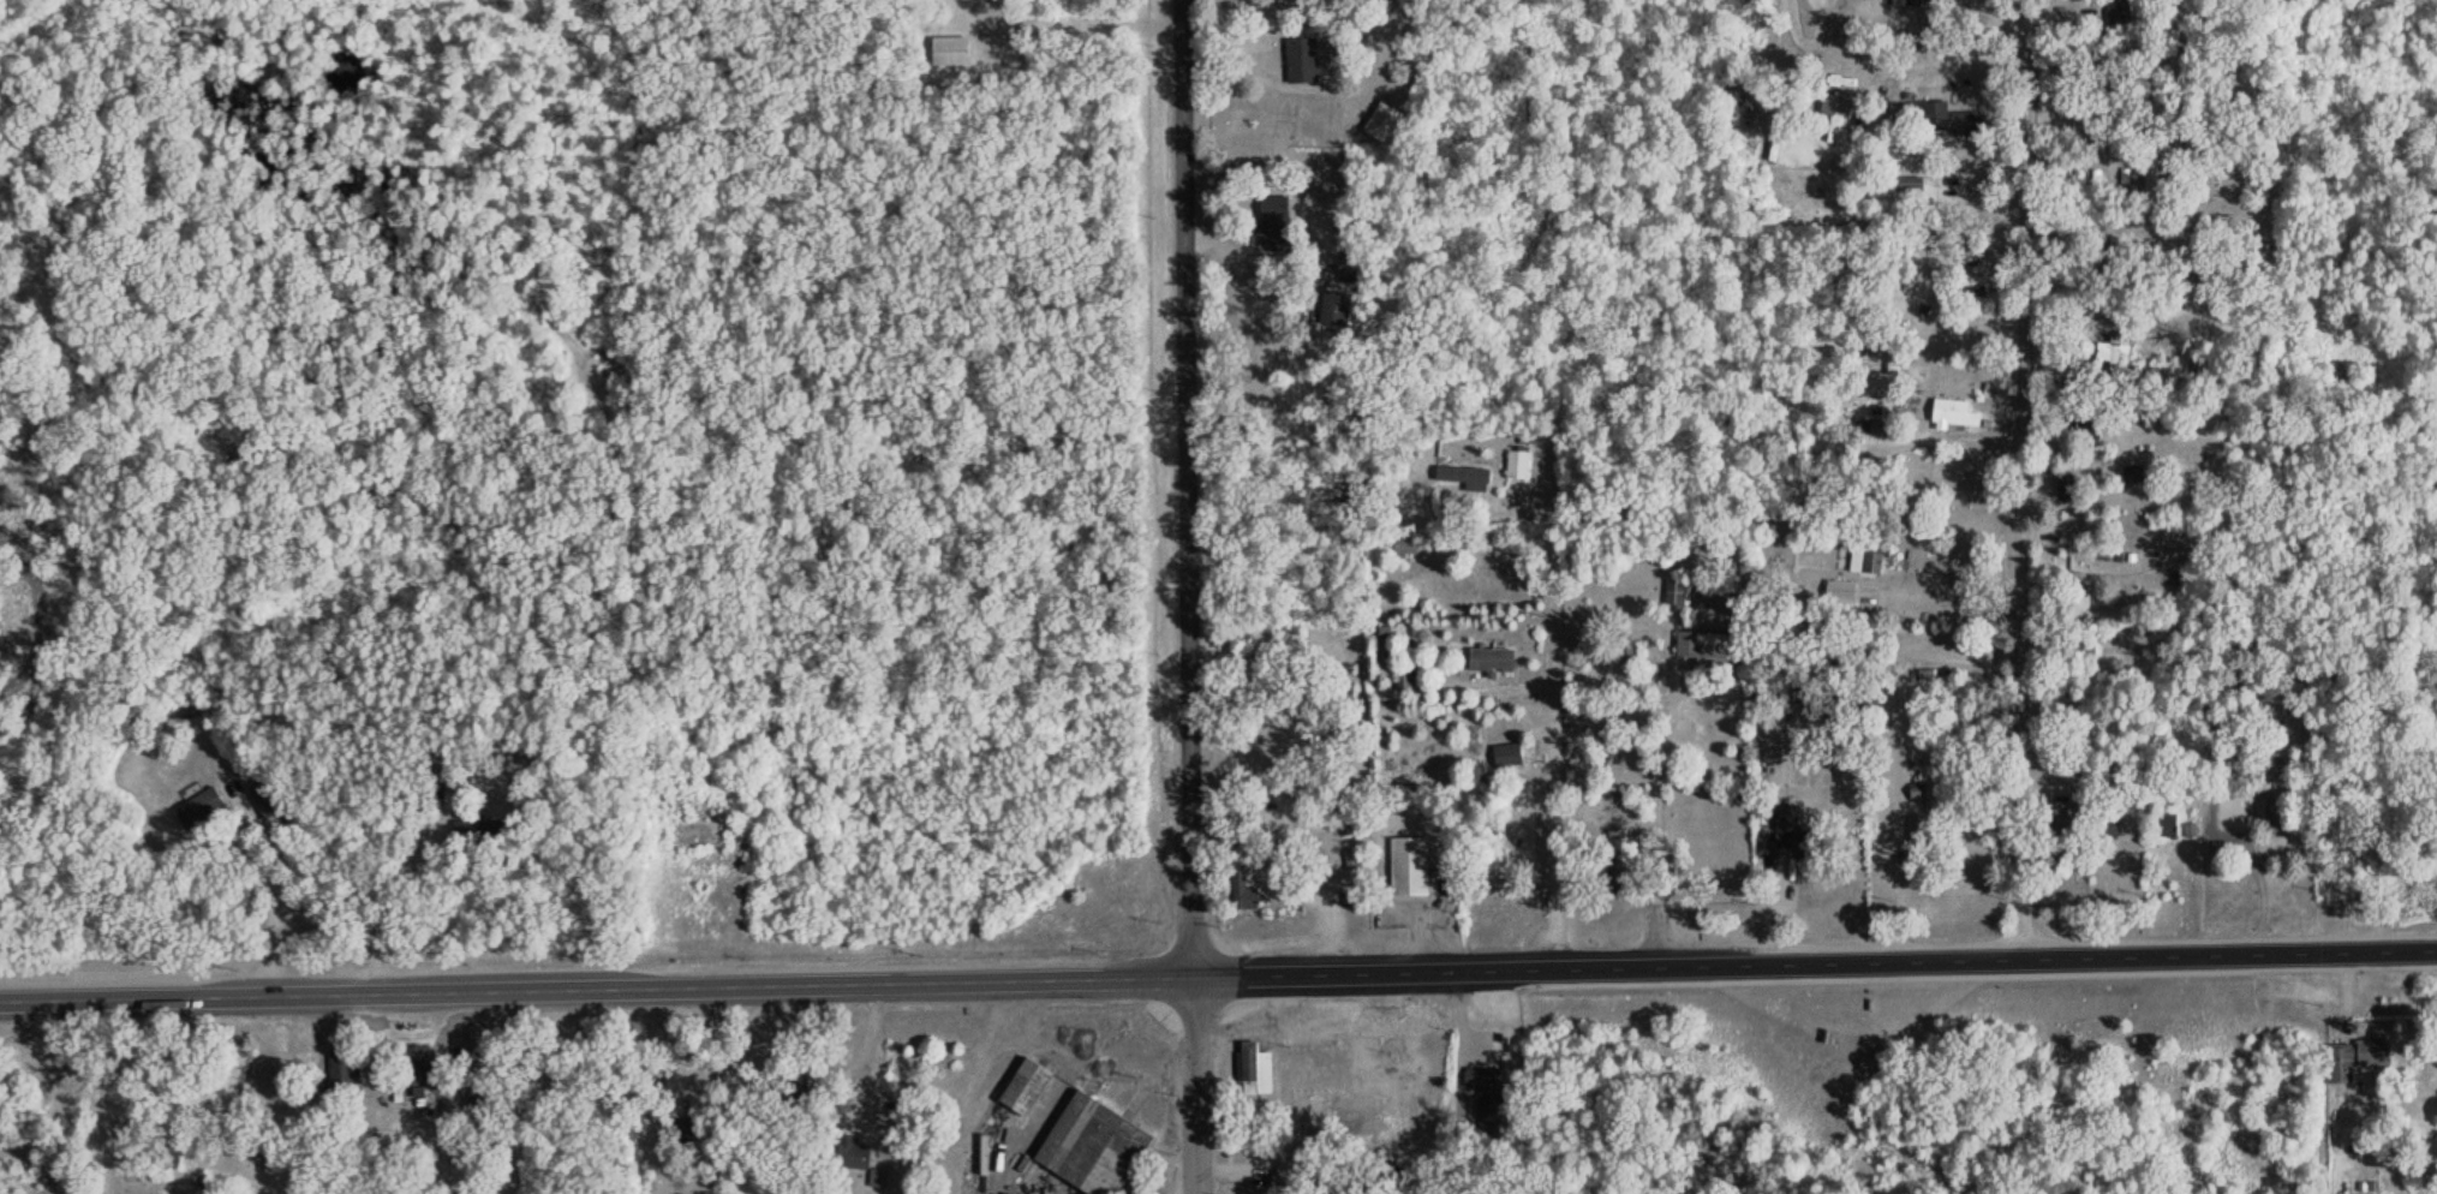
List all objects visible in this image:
building: (956, 49)
building: (1308, 60)
building: (1839, 108)
building: (1930, 117)
building: (1388, 121)
building: (1907, 184)
building: (1971, 292)
building: (1894, 366)
building: (1939, 417)
building: (1868, 425)
building: (1522, 465)
building: (1468, 480)
road: (2027, 480)
road: (1187, 484)
building: (1869, 555)
building: (2078, 590)
building: (1838, 591)
building: (1678, 592)
building: (1702, 645)
building: (1488, 658)
building: (1404, 677)
road: (1548, 710)
building: (1506, 753)
building: (1917, 790)
building: (201, 802)
road: (1428, 820)
building: (2277, 822)
building: (2163, 824)
building: (2108, 829)
building: (1619, 847)
building: (1409, 864)
building: (1242, 883)
parking lot: (1411, 911)
road: (1815, 963)
road: (597, 985)
building: (411, 1050)
building: (2373, 1053)
building: (2341, 1063)
building: (348, 1064)
building: (1312, 1064)
building: (1252, 1069)
building: (1476, 1076)
road: (1196, 1081)
building: (1022, 1087)
building: (1486, 1106)
building: (1089, 1146)
building: (849, 1156)
building: (1014, 1176)

